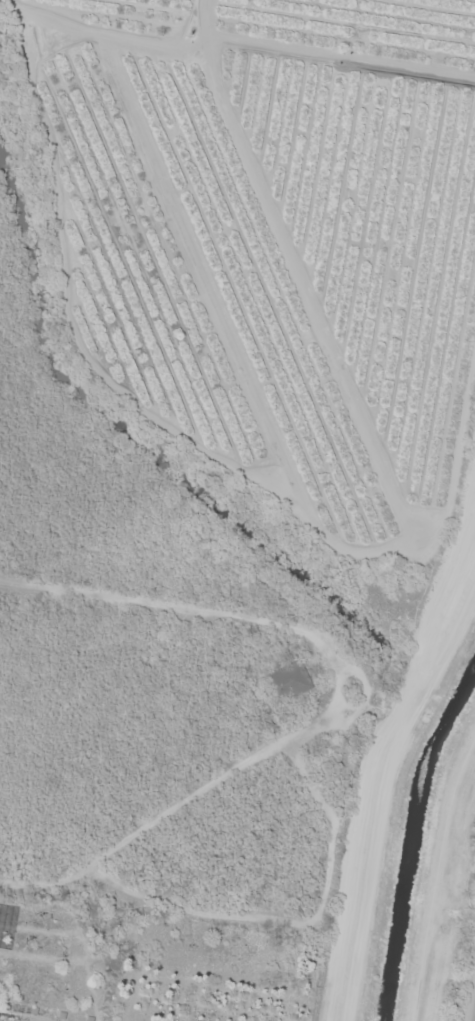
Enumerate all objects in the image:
building: (286, 682)
building: (348, 755)

